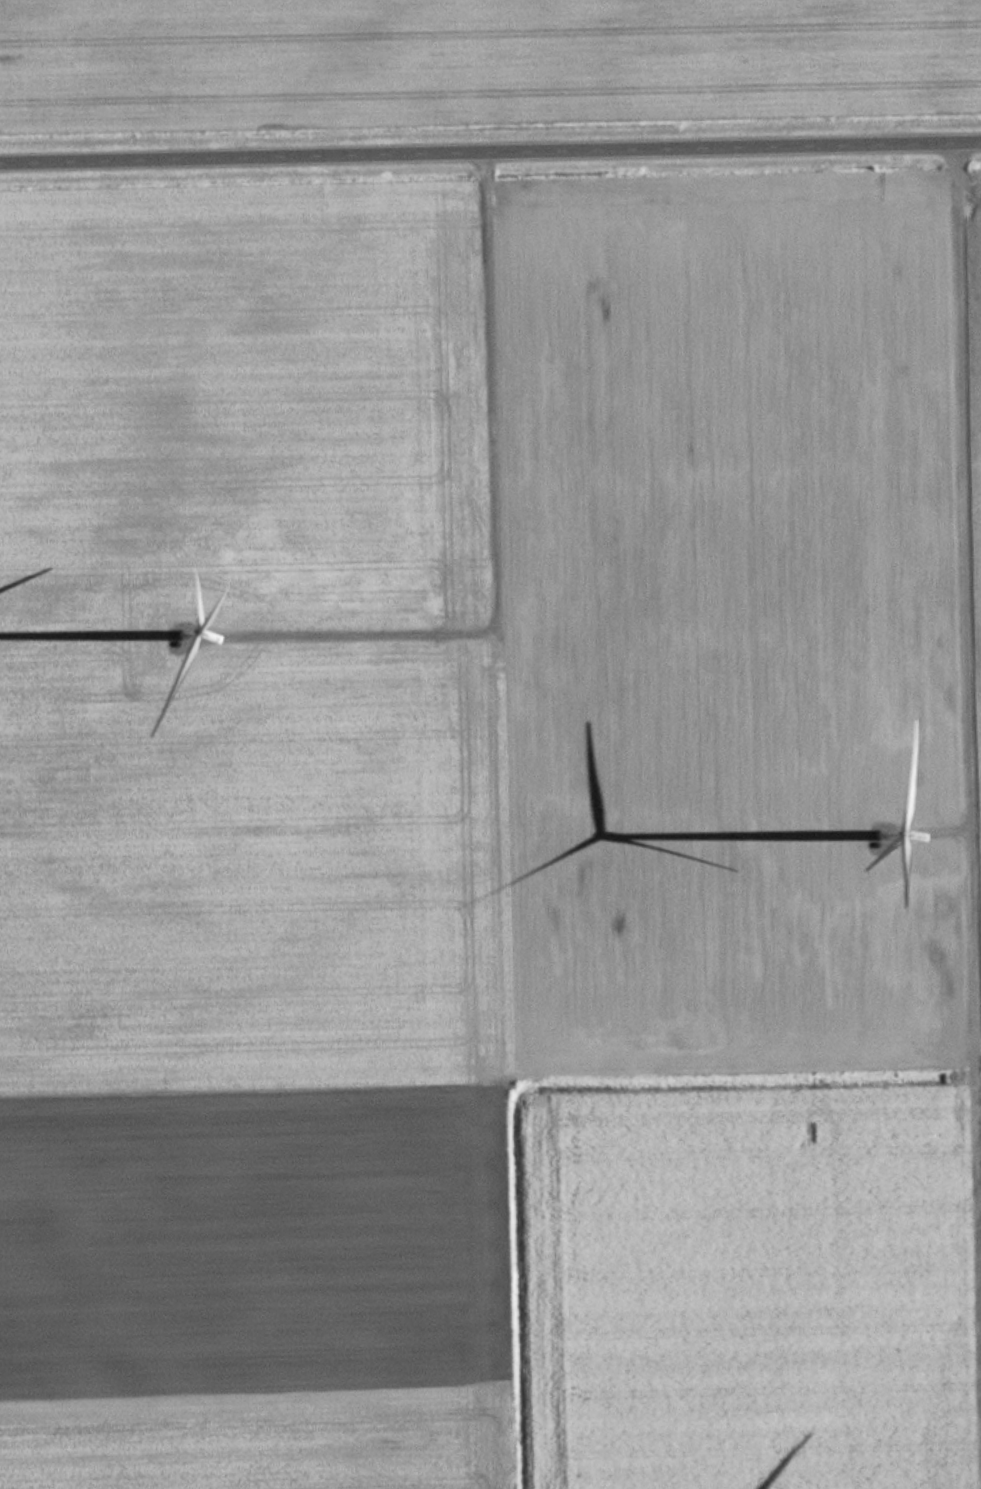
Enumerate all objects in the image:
road: (490, 152)
road: (491, 526)
wind turbine: (186, 617)
road: (968, 658)
wind turbine: (876, 825)

